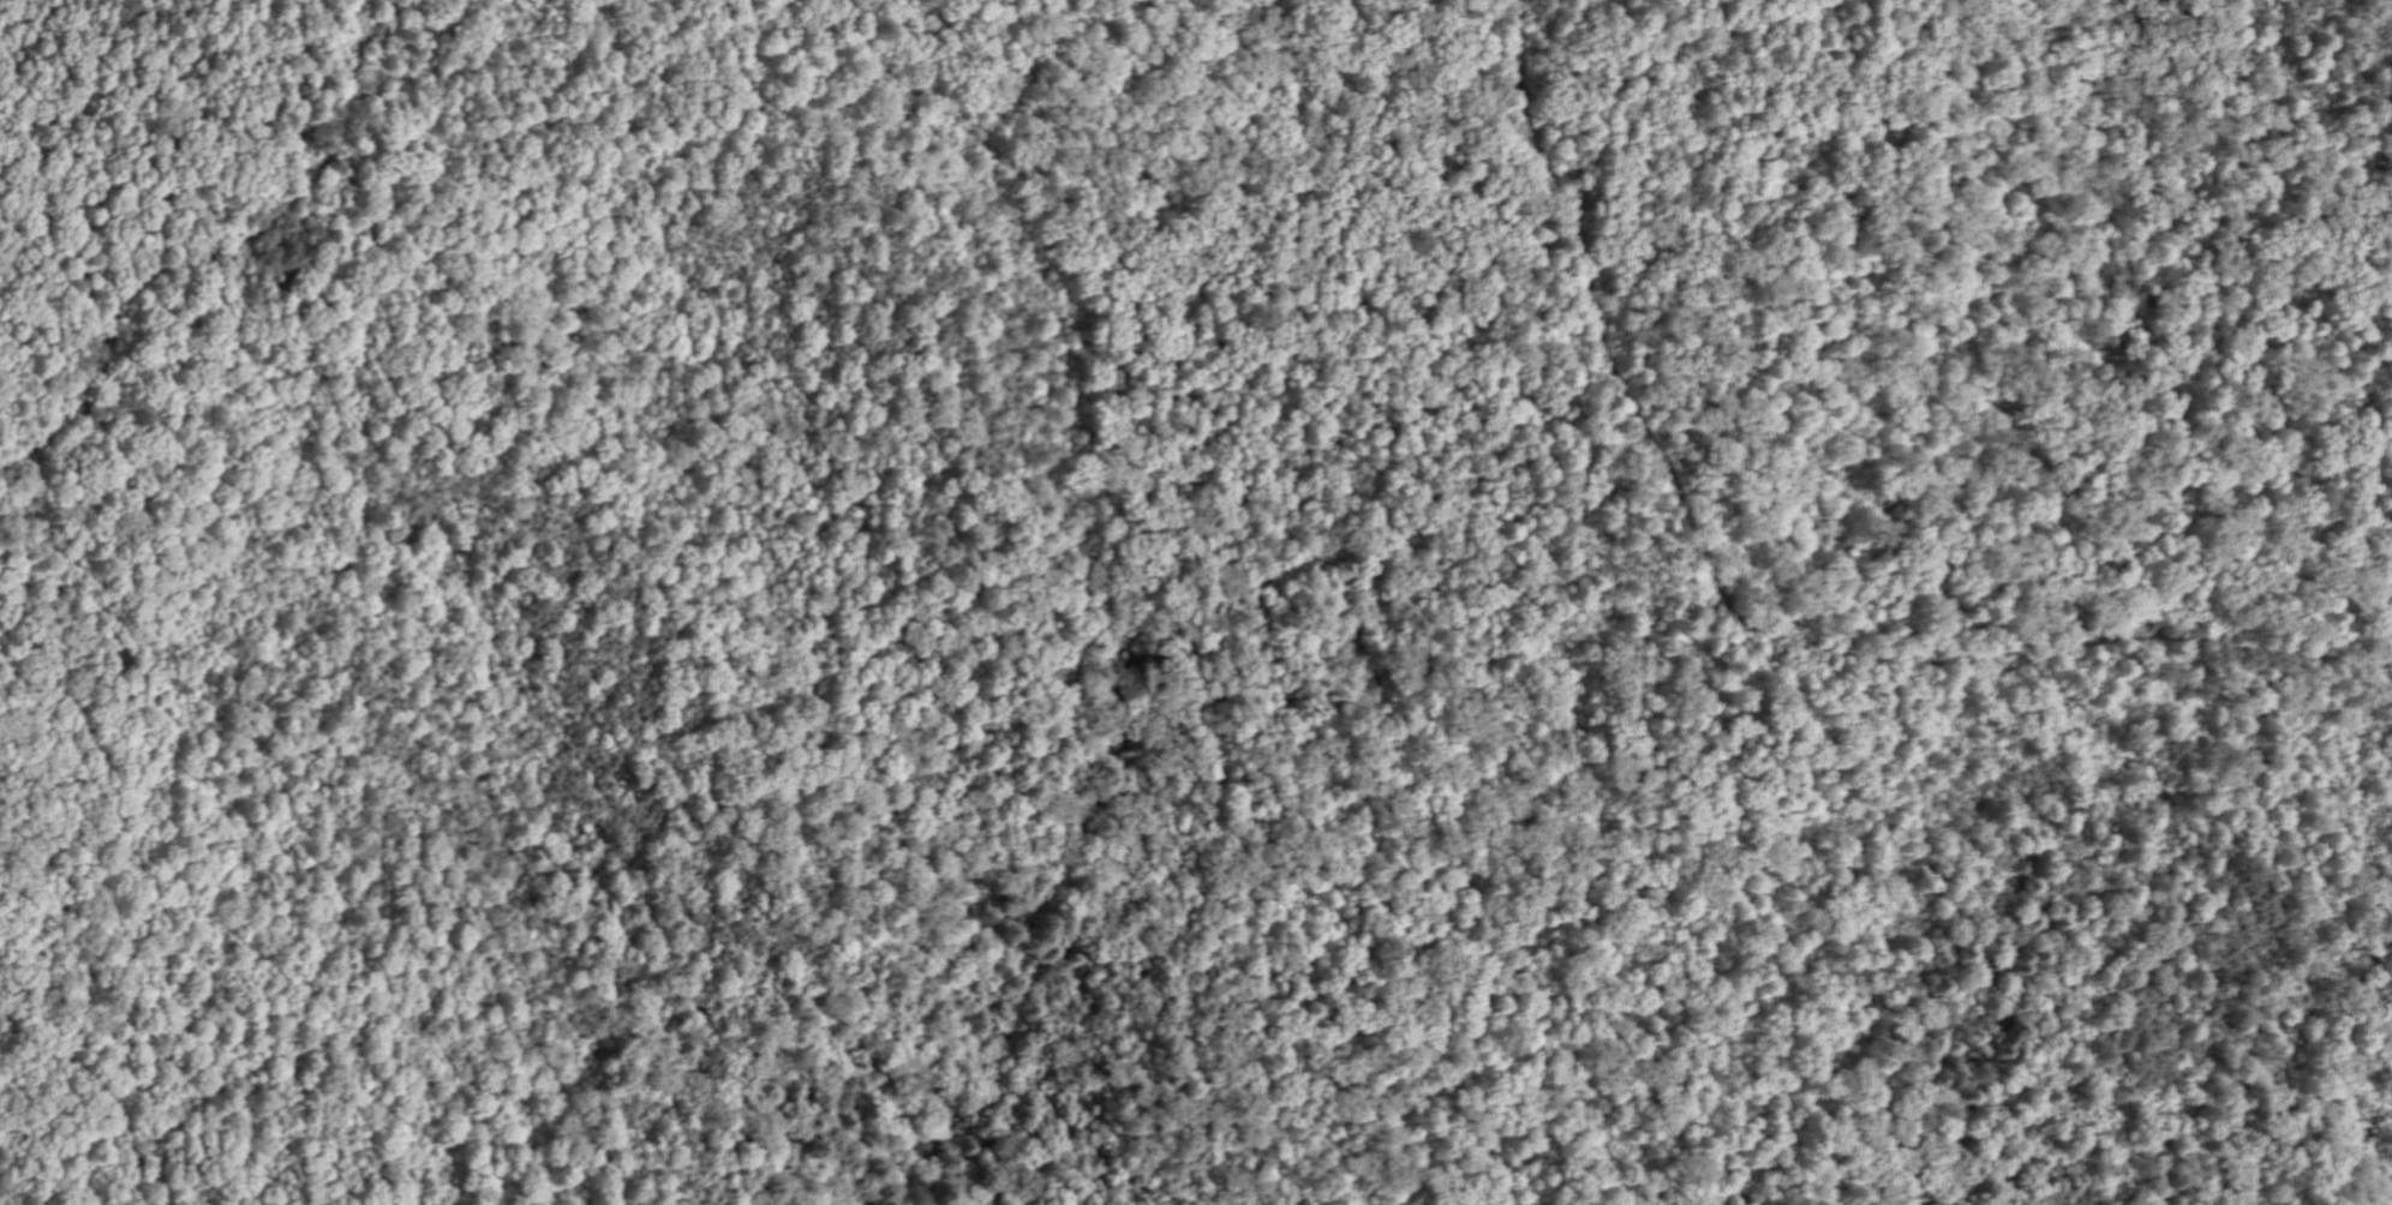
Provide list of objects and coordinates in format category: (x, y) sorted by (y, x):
road: (216, 253)
road: (1740, 613)

